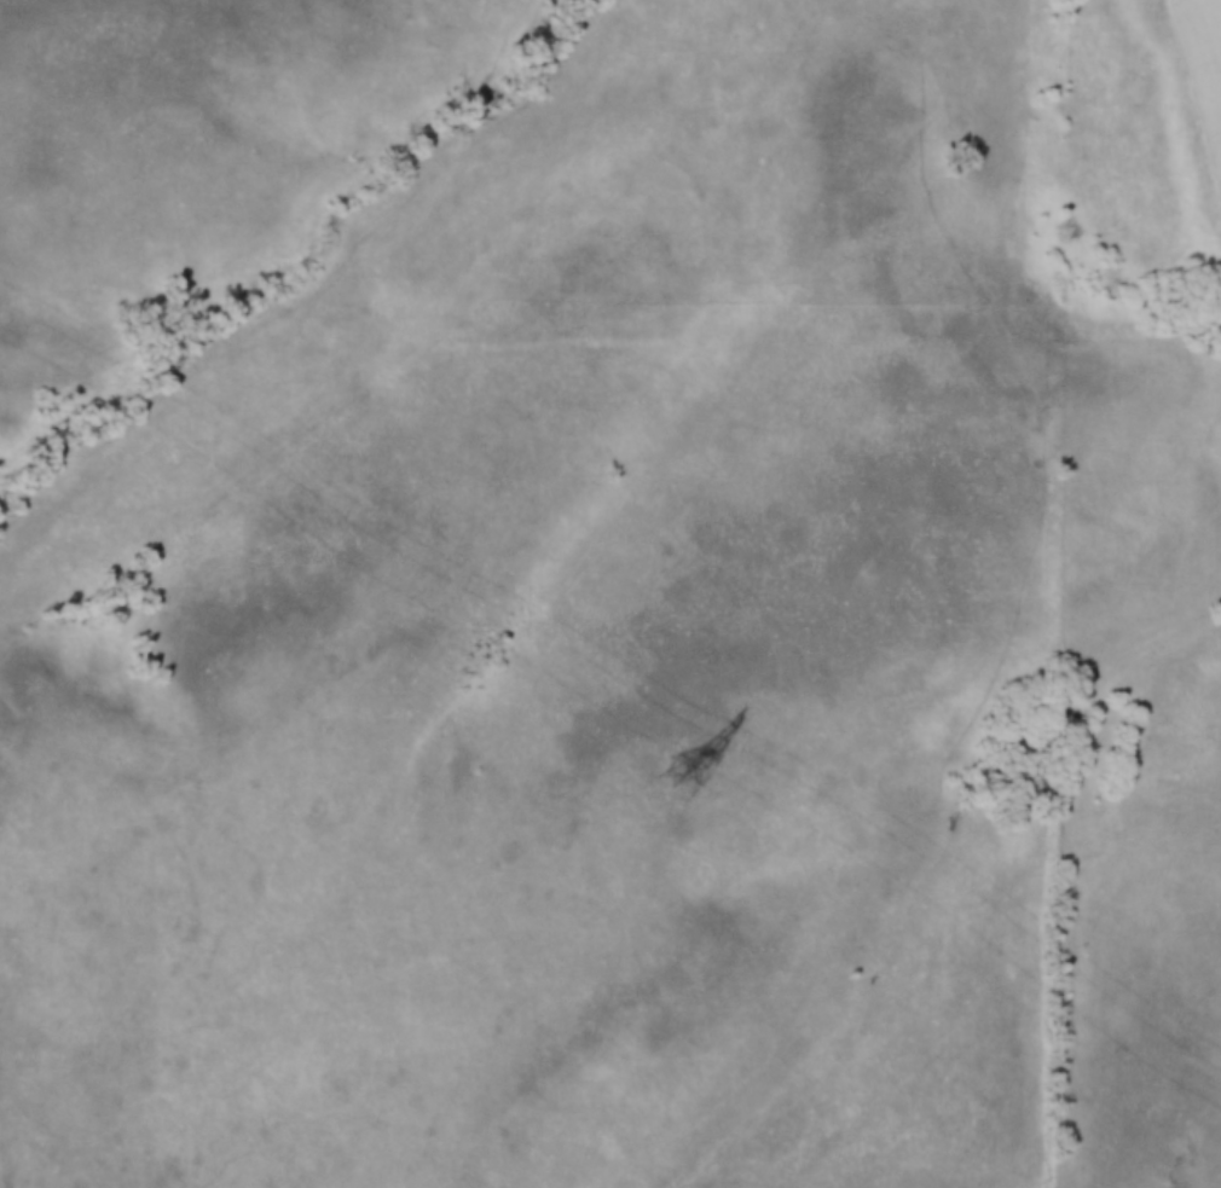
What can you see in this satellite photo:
power tower: (664, 771)

